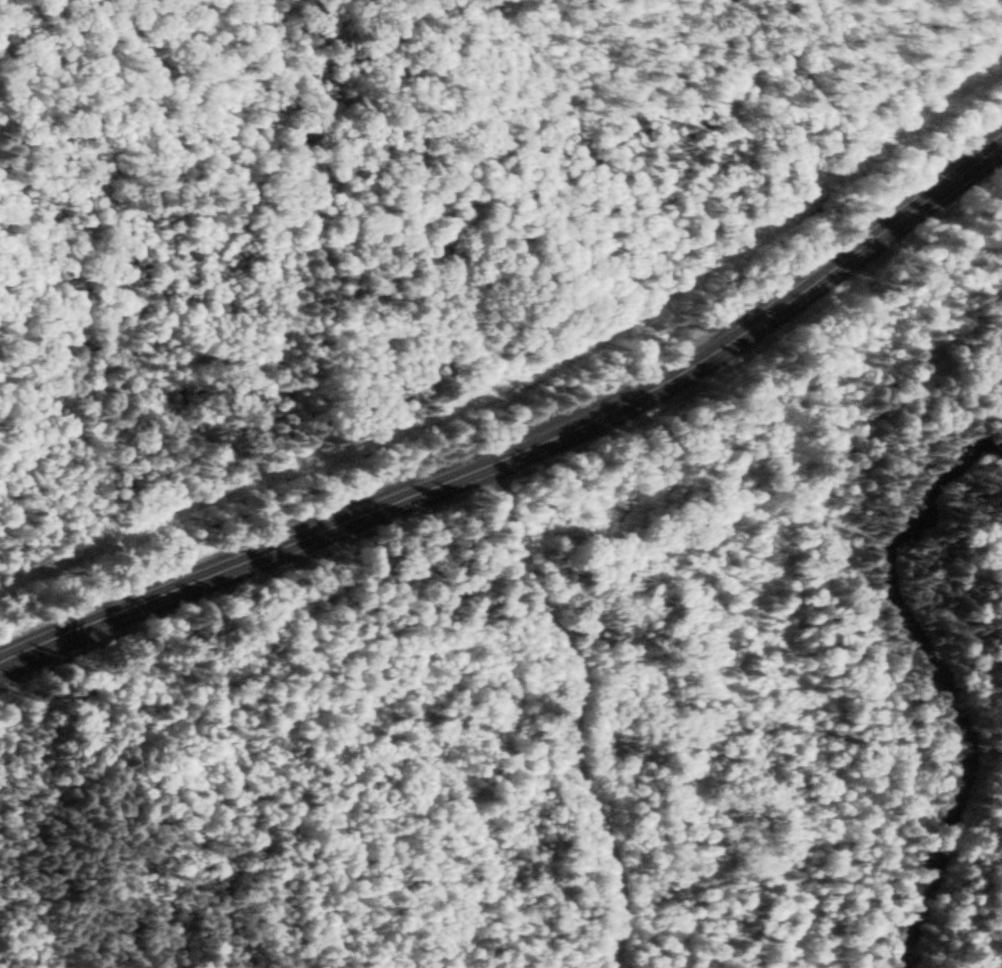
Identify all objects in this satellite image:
road: (526, 449)
river: (932, 677)

